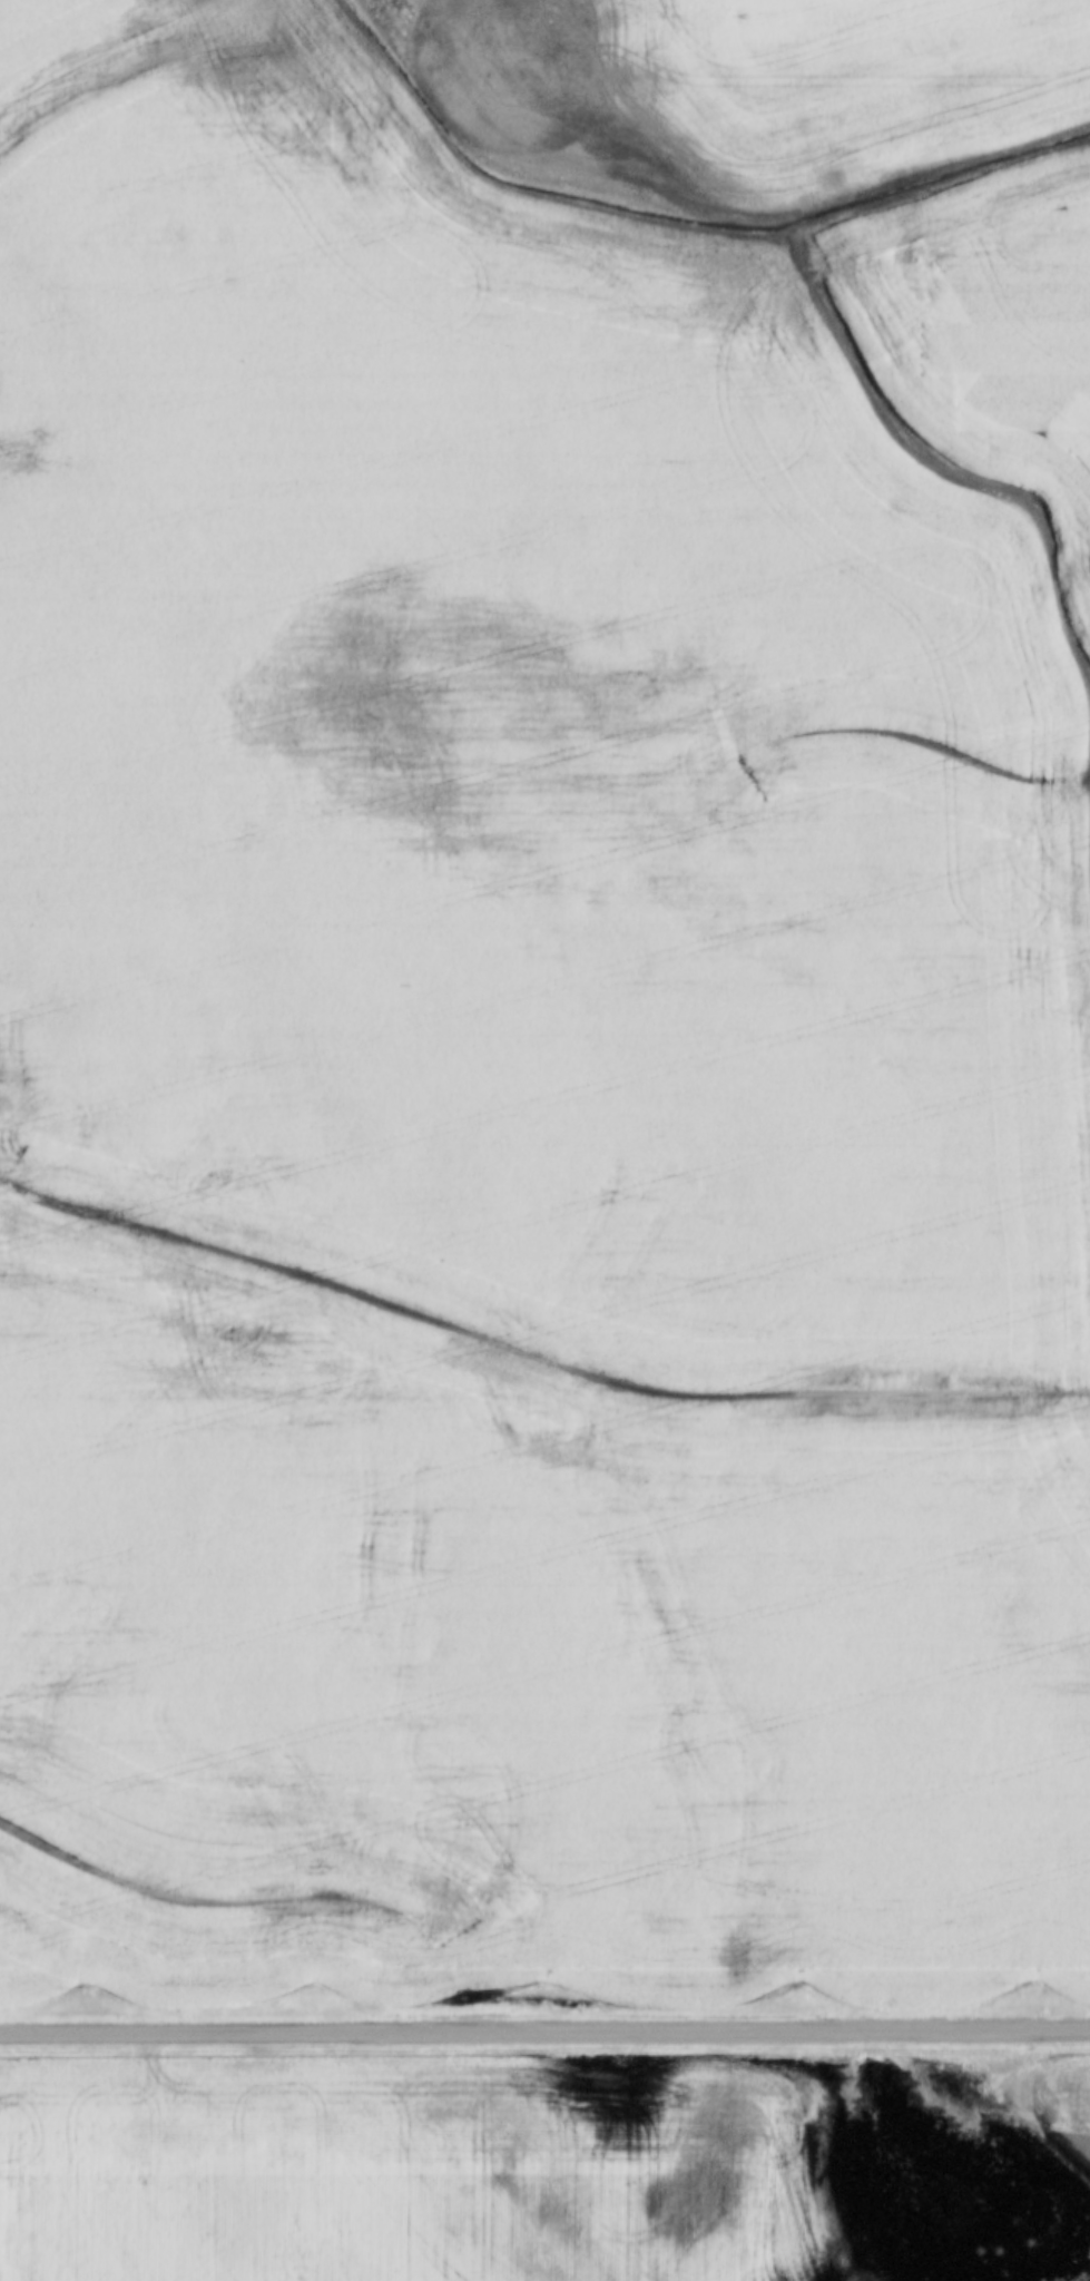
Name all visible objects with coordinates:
road: (544, 2034)

